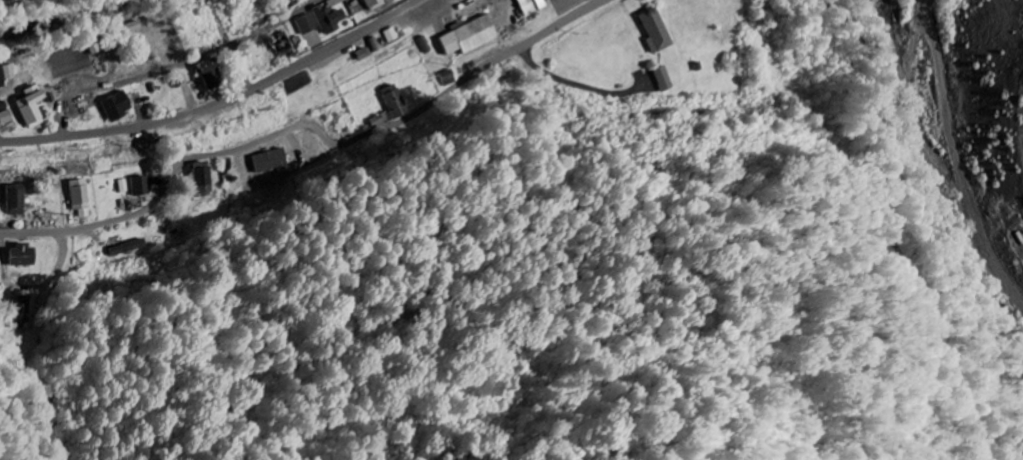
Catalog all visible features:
building: (377, 4)
building: (535, 5)
building: (330, 16)
road: (567, 23)
building: (308, 24)
building: (132, 26)
building: (658, 30)
building: (472, 36)
road: (179, 65)
building: (211, 68)
road: (245, 68)
building: (1, 77)
building: (668, 77)
road: (574, 81)
building: (118, 105)
road: (225, 105)
building: (32, 106)
road: (266, 140)
building: (274, 160)
building: (206, 177)
building: (144, 185)
building: (81, 196)
building: (16, 199)
building: (134, 247)
building: (23, 255)
building: (22, 311)

